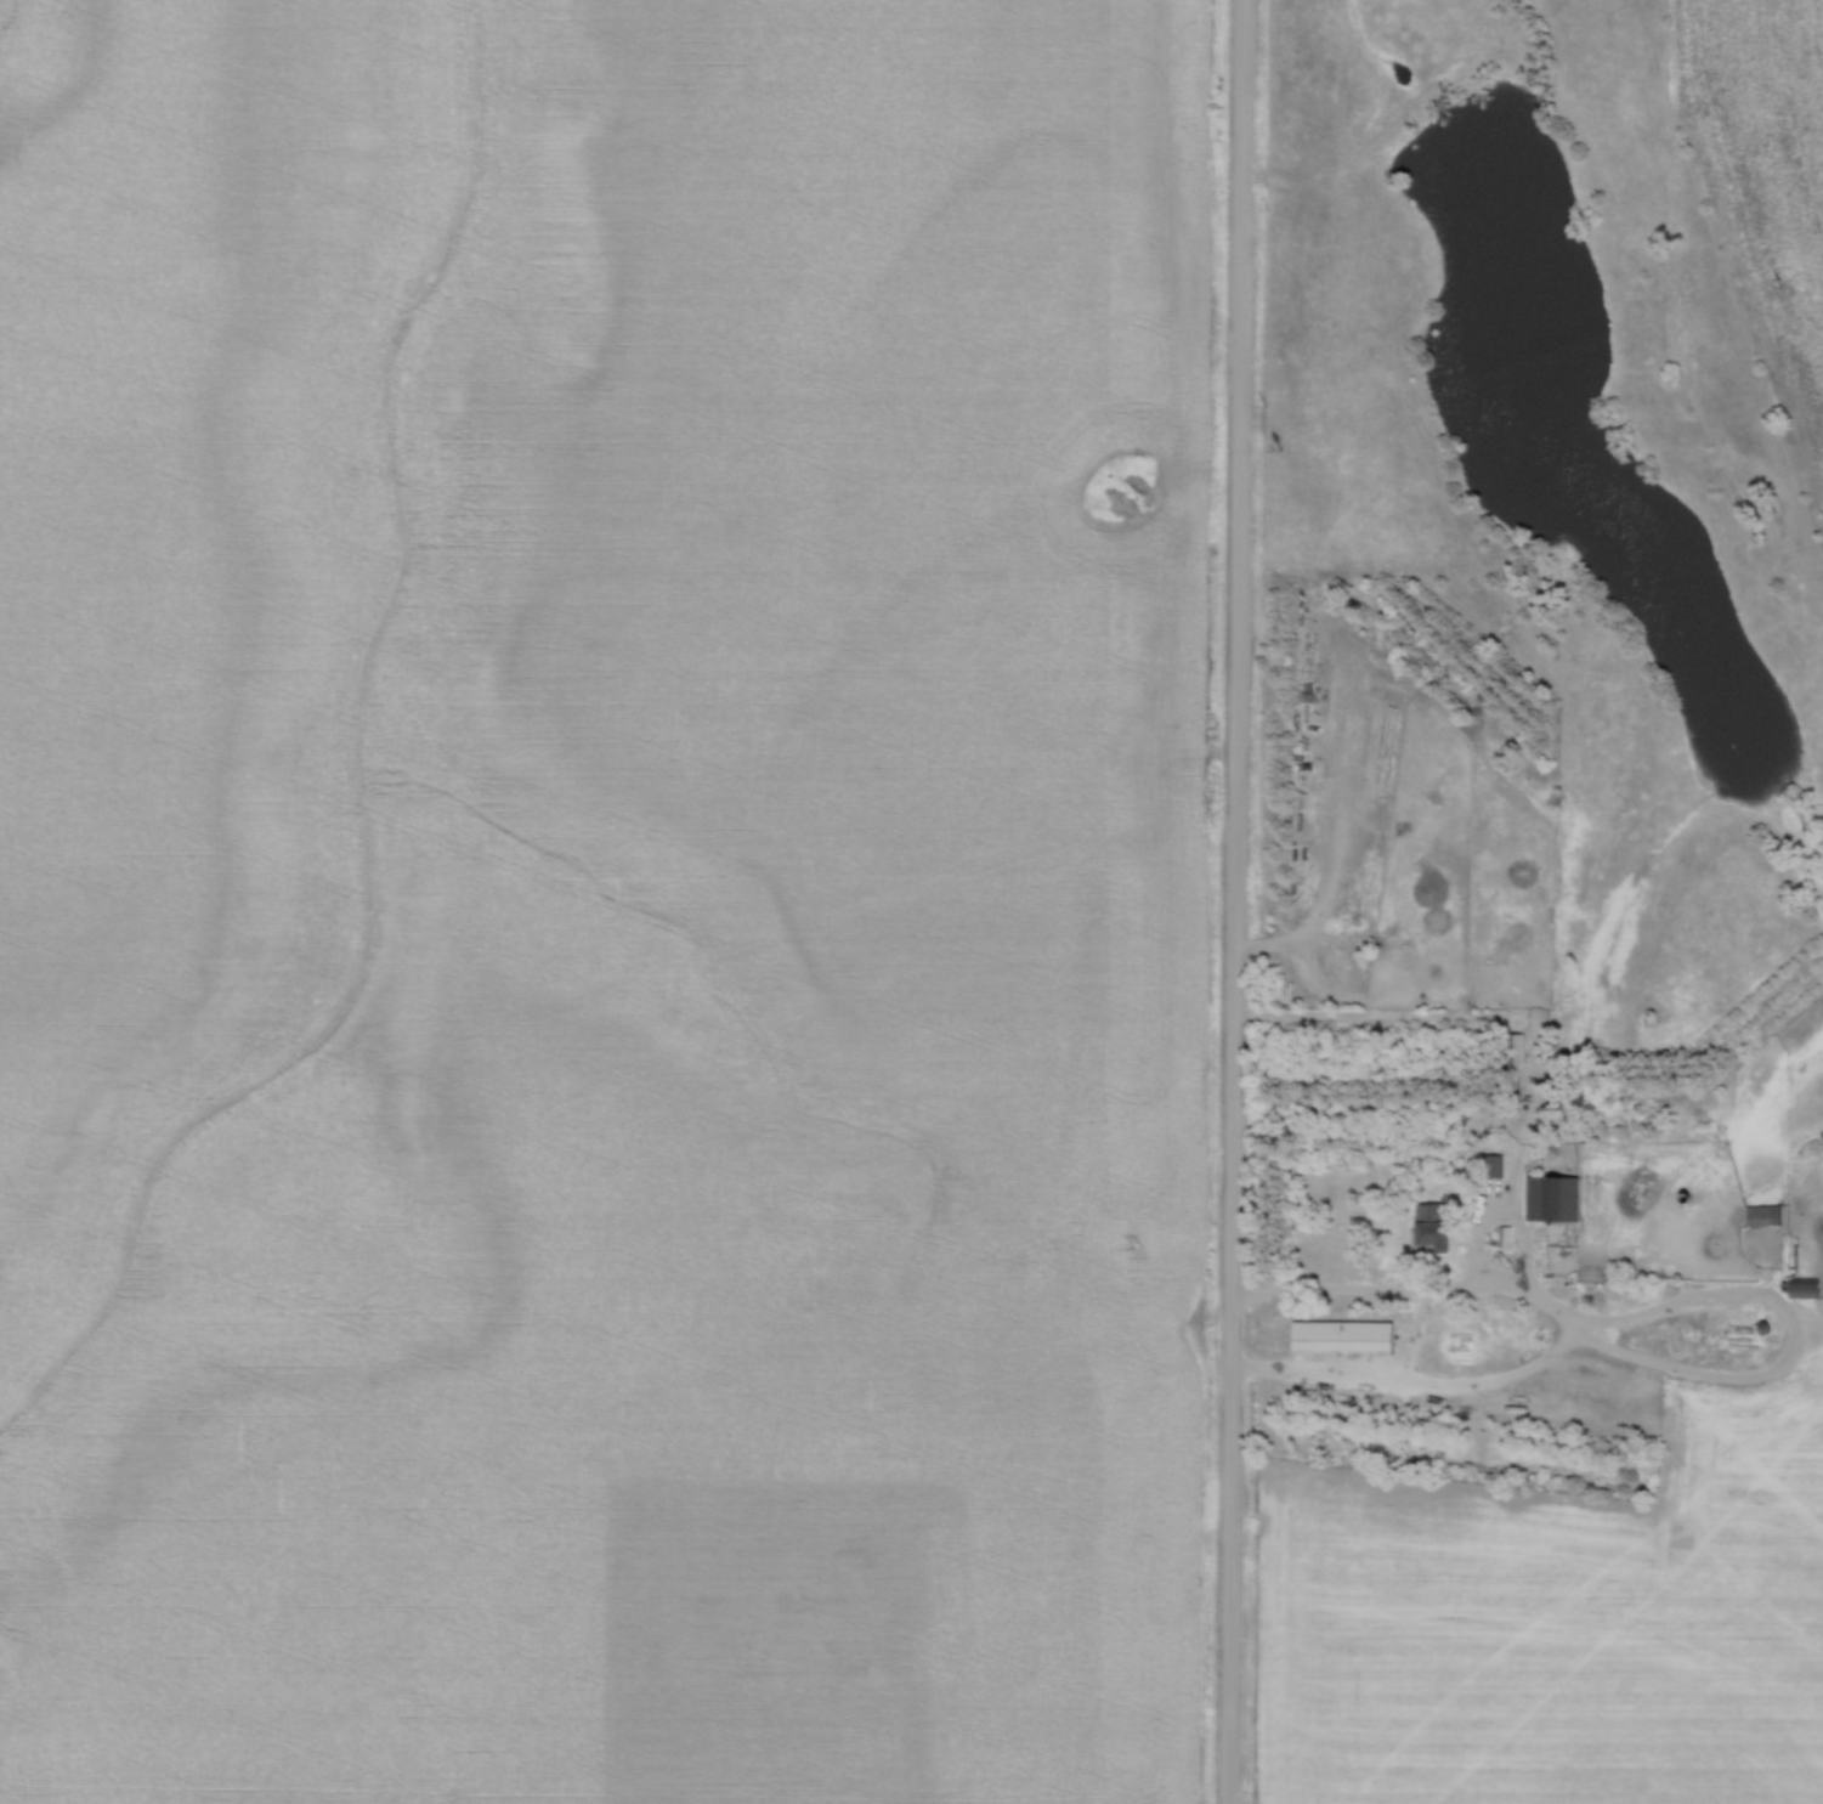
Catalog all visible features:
road: (1236, 901)
building: (1496, 965)
building: (1518, 1048)
road: (1499, 1192)
building: (1556, 1199)
building: (1767, 1216)
building: (1437, 1227)
building: (1807, 1288)
road: (1502, 1289)
building: (1743, 1328)
building: (1346, 1335)

